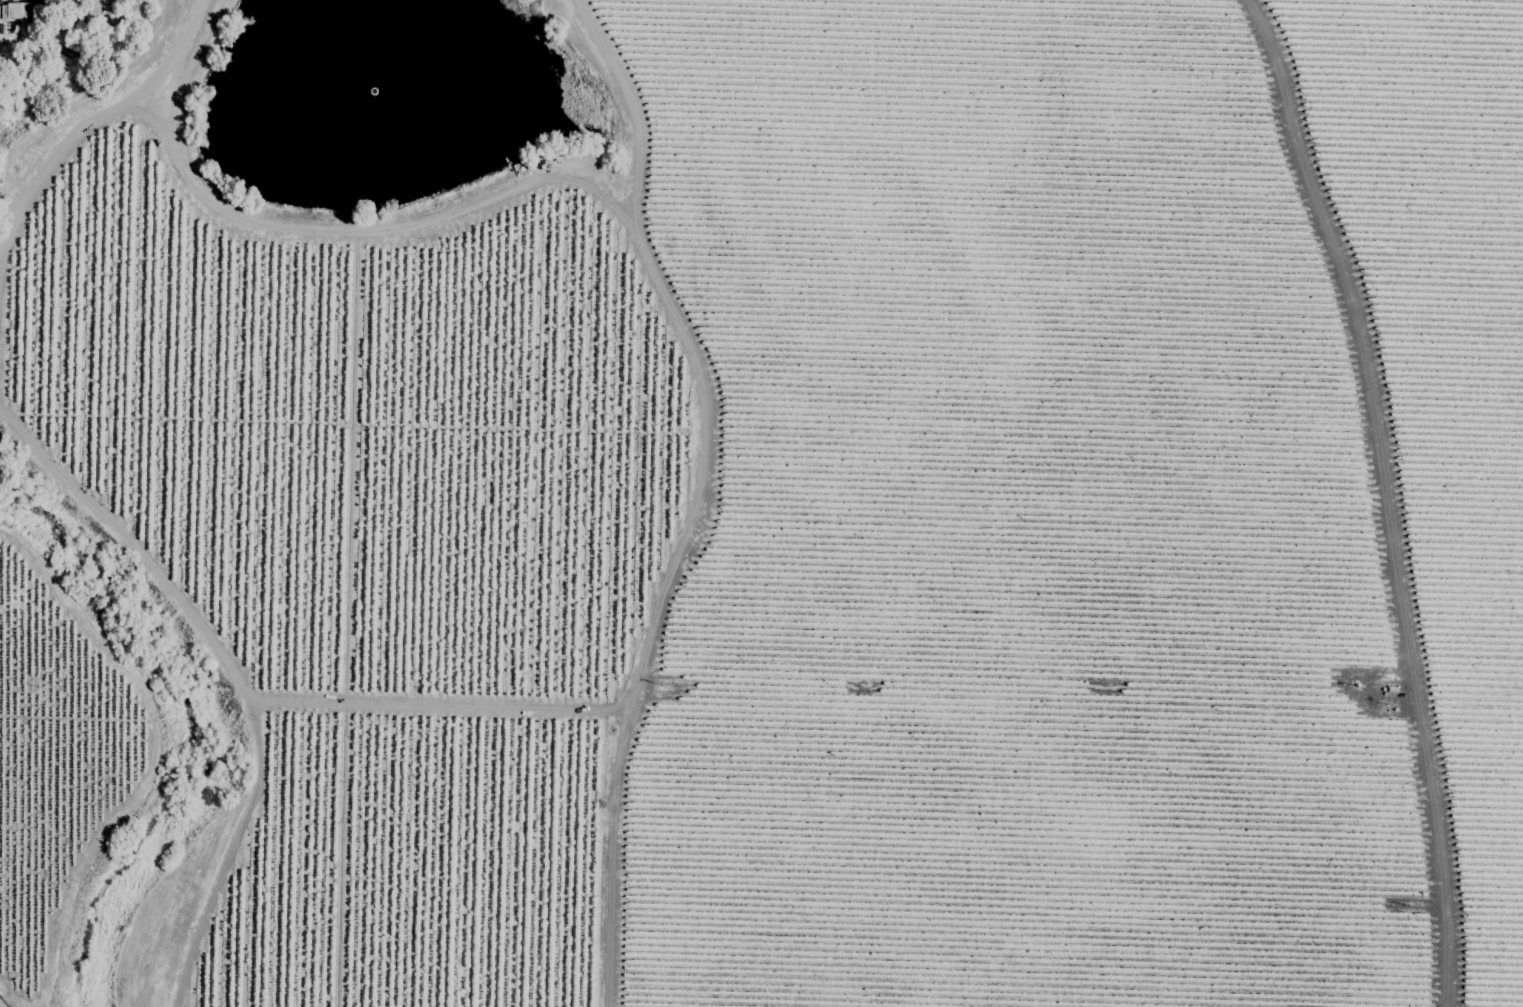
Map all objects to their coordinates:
crop: (761, 503)

